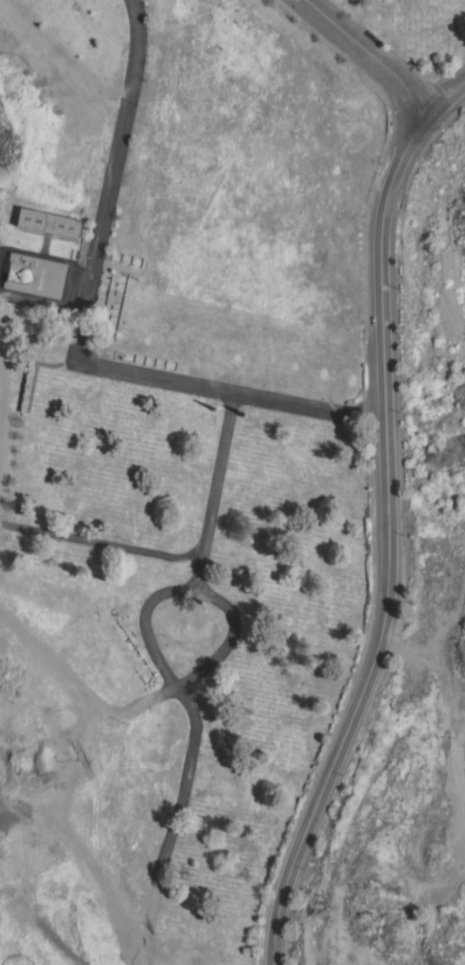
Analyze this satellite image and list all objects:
park: (413, 28)
road: (371, 56)
building: (49, 223)
building: (35, 275)
road: (80, 337)
building: (26, 387)
park: (178, 481)
road: (210, 490)
road: (389, 524)
road: (99, 544)
road: (441, 620)
road: (140, 623)
road: (226, 638)
road: (171, 824)

